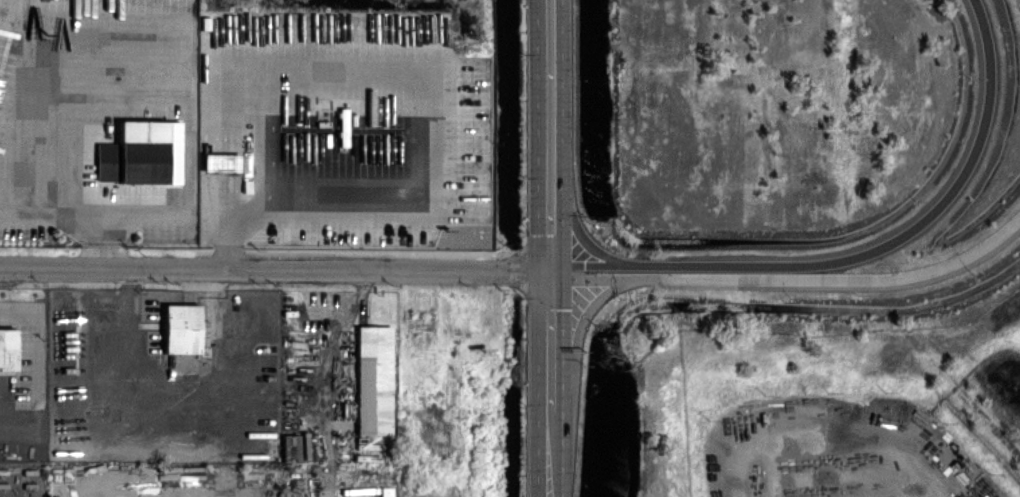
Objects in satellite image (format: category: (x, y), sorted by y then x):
road: (120, 93)
road: (551, 134)
building: (151, 151)
building: (222, 162)
road: (296, 205)
road: (580, 233)
road: (865, 256)
road: (275, 268)
traffic signals: (551, 270)
road: (792, 279)
building: (183, 328)
road: (578, 329)
road: (551, 337)
building: (8, 349)
road: (41, 363)
building: (373, 380)
road: (550, 450)
building: (385, 491)

